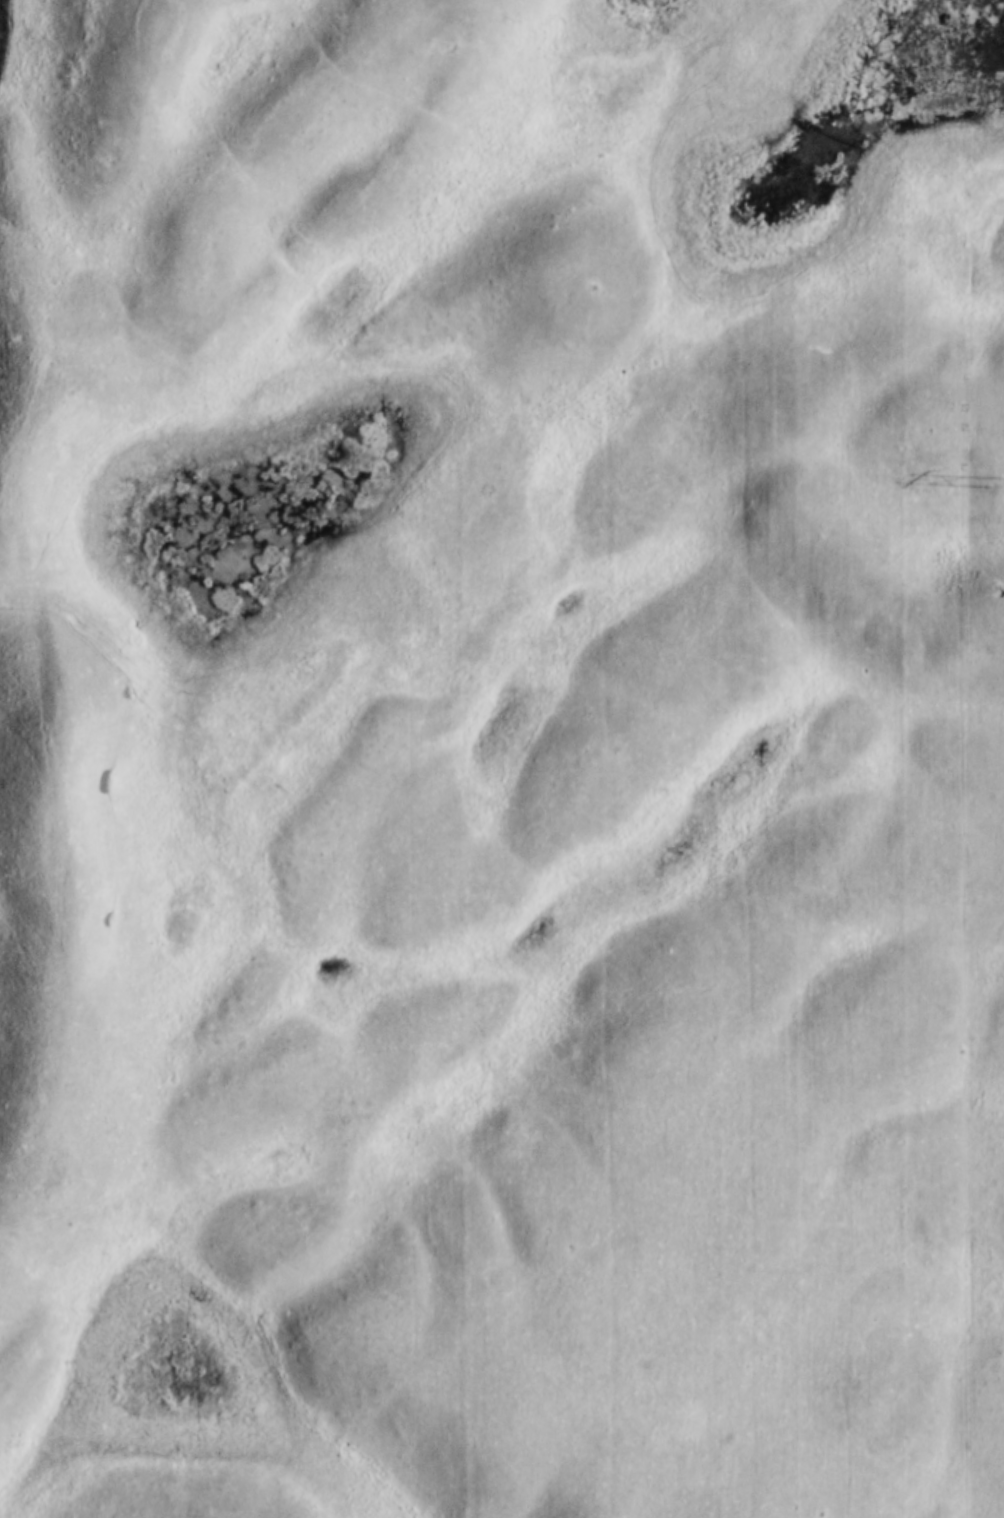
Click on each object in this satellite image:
power tower: (994, 481)

